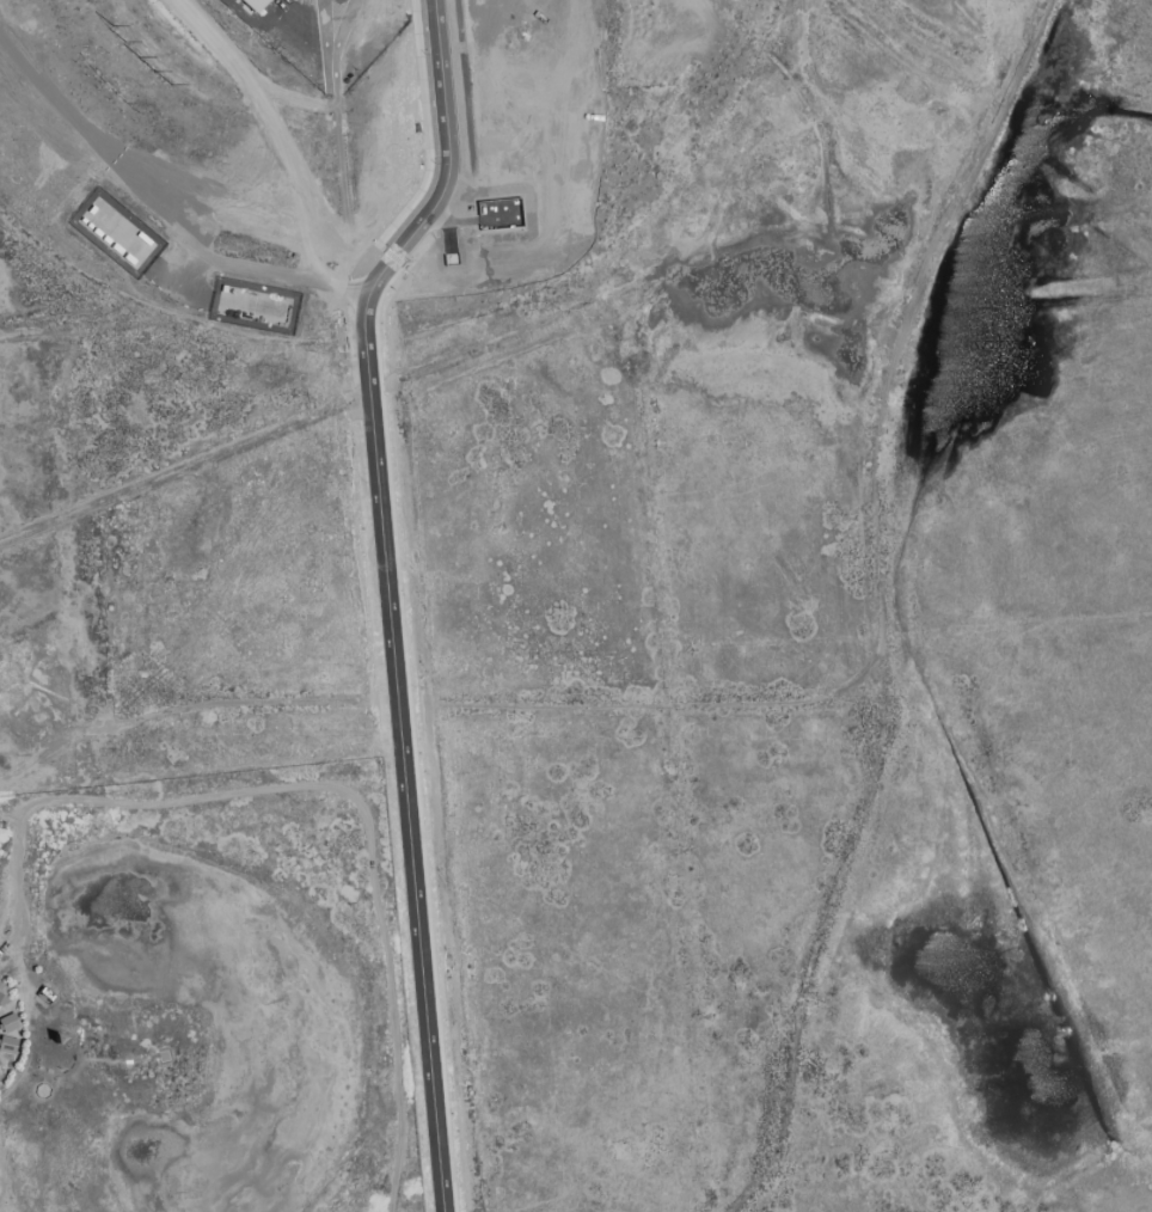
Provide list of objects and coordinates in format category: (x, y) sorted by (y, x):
building: (253, 4)
road: (344, 30)
road: (324, 31)
road: (244, 72)
road: (447, 165)
building: (112, 227)
road: (266, 271)
road: (881, 604)
road: (392, 630)

